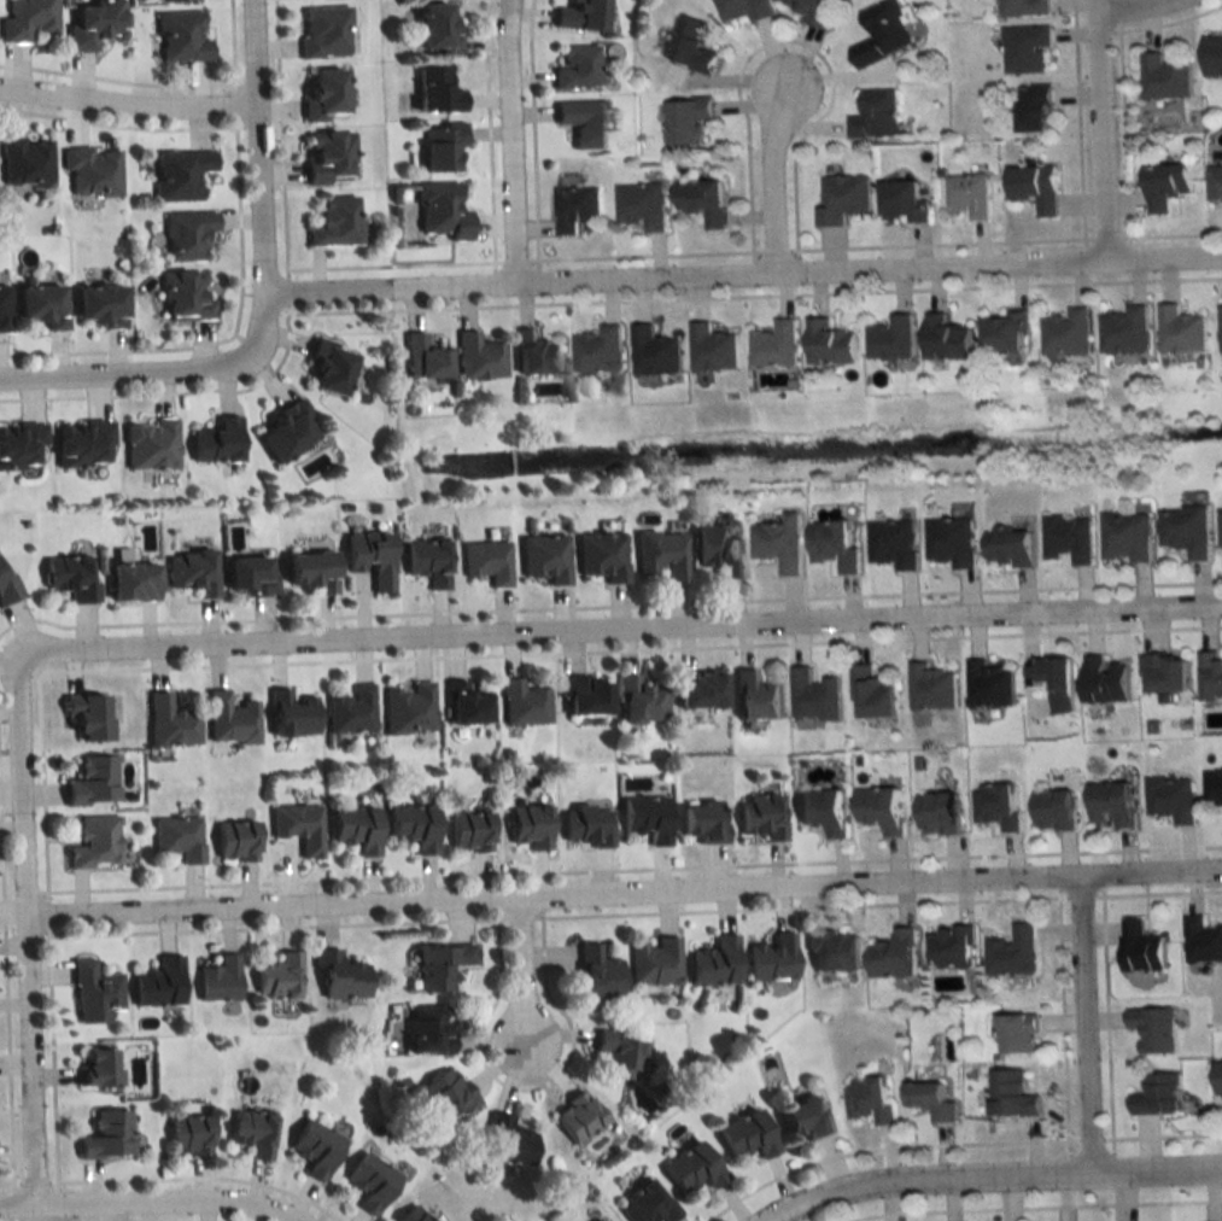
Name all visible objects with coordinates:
building: (174, 0)
road: (1127, 2)
building: (1023, 7)
building: (742, 10)
building: (812, 11)
building: (577, 16)
building: (25, 19)
building: (90, 23)
building: (432, 30)
building: (321, 33)
building: (882, 33)
building: (180, 37)
building: (690, 46)
building: (1024, 48)
building: (1211, 55)
building: (574, 68)
building: (1163, 77)
building: (433, 90)
building: (318, 94)
road: (129, 104)
building: (1033, 107)
building: (873, 115)
building: (685, 119)
building: (580, 122)
road: (1100, 128)
road: (509, 139)
building: (437, 145)
building: (323, 157)
building: (24, 162)
road: (774, 169)
building: (90, 173)
road: (263, 173)
building: (177, 175)
building: (1214, 183)
building: (1163, 186)
building: (1034, 187)
building: (965, 195)
building: (840, 198)
building: (702, 200)
building: (902, 200)
building: (641, 206)
building: (574, 209)
building: (437, 212)
building: (332, 222)
building: (185, 235)
road: (746, 269)
building: (182, 297)
building: (40, 305)
building: (2, 306)
building: (95, 306)
building: (1220, 329)
building: (1123, 331)
building: (1001, 332)
building: (1179, 332)
building: (1065, 333)
building: (942, 338)
building: (889, 340)
building: (826, 344)
building: (773, 345)
building: (711, 349)
building: (597, 350)
building: (653, 352)
building: (533, 354)
building: (476, 357)
building: (420, 358)
building: (324, 368)
road: (131, 370)
building: (282, 431)
building: (215, 440)
building: (80, 443)
building: (148, 444)
building: (19, 445)
building: (1220, 528)
building: (1185, 530)
building: (1125, 537)
building: (1068, 538)
building: (951, 542)
building: (891, 543)
building: (778, 544)
building: (831, 545)
building: (715, 548)
building: (1008, 548)
building: (657, 554)
building: (598, 556)
building: (366, 557)
building: (542, 557)
building: (422, 561)
building: (484, 562)
building: (191, 571)
building: (304, 572)
building: (245, 577)
building: (66, 579)
building: (128, 582)
building: (6, 589)
road: (620, 625)
building: (1164, 673)
building: (1210, 676)
building: (1104, 680)
building: (1054, 682)
building: (988, 685)
building: (930, 688)
building: (695, 691)
building: (871, 695)
building: (813, 696)
building: (579, 697)
building: (754, 697)
building: (637, 701)
building: (461, 705)
building: (520, 705)
building: (407, 708)
building: (347, 711)
building: (287, 714)
building: (82, 718)
building: (227, 720)
building: (168, 723)
building: (89, 782)
building: (1212, 789)
building: (1171, 800)
building: (1110, 805)
building: (995, 806)
building: (878, 811)
building: (1051, 811)
building: (820, 812)
building: (934, 814)
building: (759, 818)
building: (644, 819)
building: (701, 822)
building: (525, 826)
building: (584, 826)
building: (297, 828)
building: (410, 828)
building: (352, 829)
building: (466, 832)
building: (176, 839)
building: (233, 842)
building: (92, 843)
road: (626, 886)
road: (30, 925)
building: (1200, 941)
building: (948, 948)
building: (1140, 948)
building: (830, 951)
building: (1011, 952)
building: (889, 956)
building: (771, 958)
building: (654, 962)
building: (713, 962)
road: (527, 964)
building: (437, 968)
building: (595, 972)
building: (335, 976)
building: (275, 977)
building: (216, 980)
building: (156, 983)
building: (92, 988)
road: (1088, 1020)
building: (1152, 1028)
building: (425, 1030)
building: (1015, 1033)
building: (614, 1056)
building: (93, 1069)
building: (1217, 1077)
building: (1010, 1093)
building: (1156, 1094)
building: (444, 1097)
building: (866, 1098)
building: (928, 1099)
building: (801, 1117)
building: (573, 1118)
building: (249, 1134)
building: (185, 1135)
building: (743, 1135)
building: (101, 1137)
building: (505, 1143)
building: (311, 1149)
building: (688, 1168)
road: (989, 1173)
building: (367, 1182)
road: (154, 1196)
building: (645, 1203)
building: (408, 1215)
building: (597, 1220)

